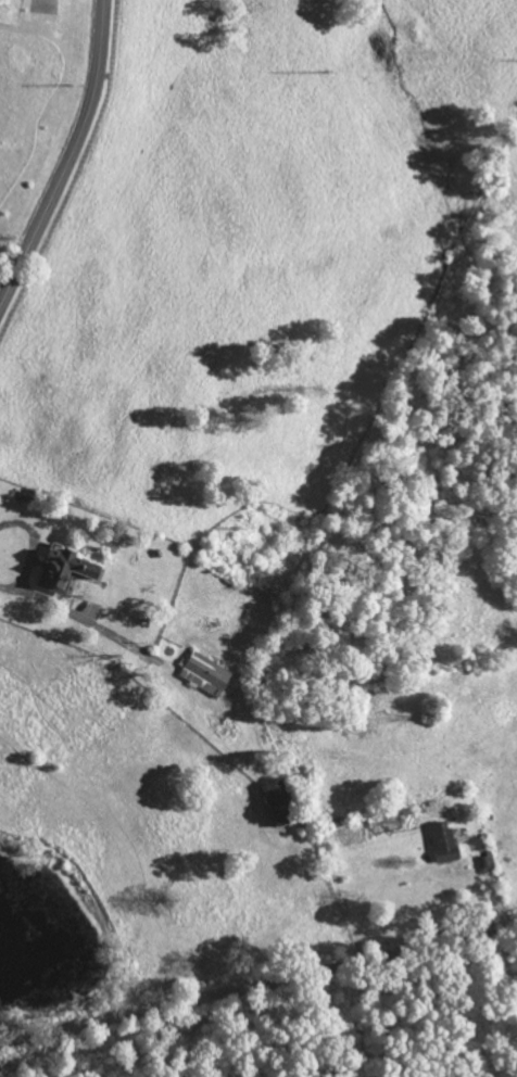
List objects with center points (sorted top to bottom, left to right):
road: (70, 157)
building: (70, 568)
road: (24, 592)
building: (207, 672)
building: (283, 801)
building: (446, 839)
road: (258, 984)

